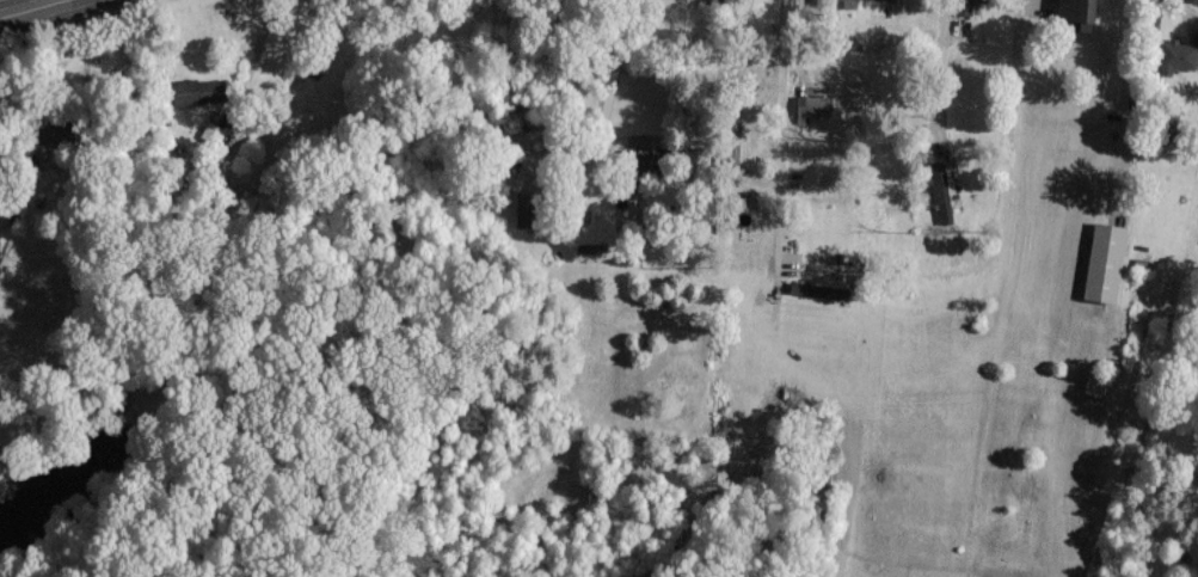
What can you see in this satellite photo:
building: (1192, 0)
building: (962, 6)
road: (26, 7)
building: (1073, 13)
building: (1177, 56)
road: (613, 70)
building: (197, 90)
building: (810, 105)
building: (51, 130)
building: (213, 130)
road: (780, 140)
building: (635, 159)
building: (938, 191)
building: (1101, 262)
building: (817, 289)
building: (1093, 385)

